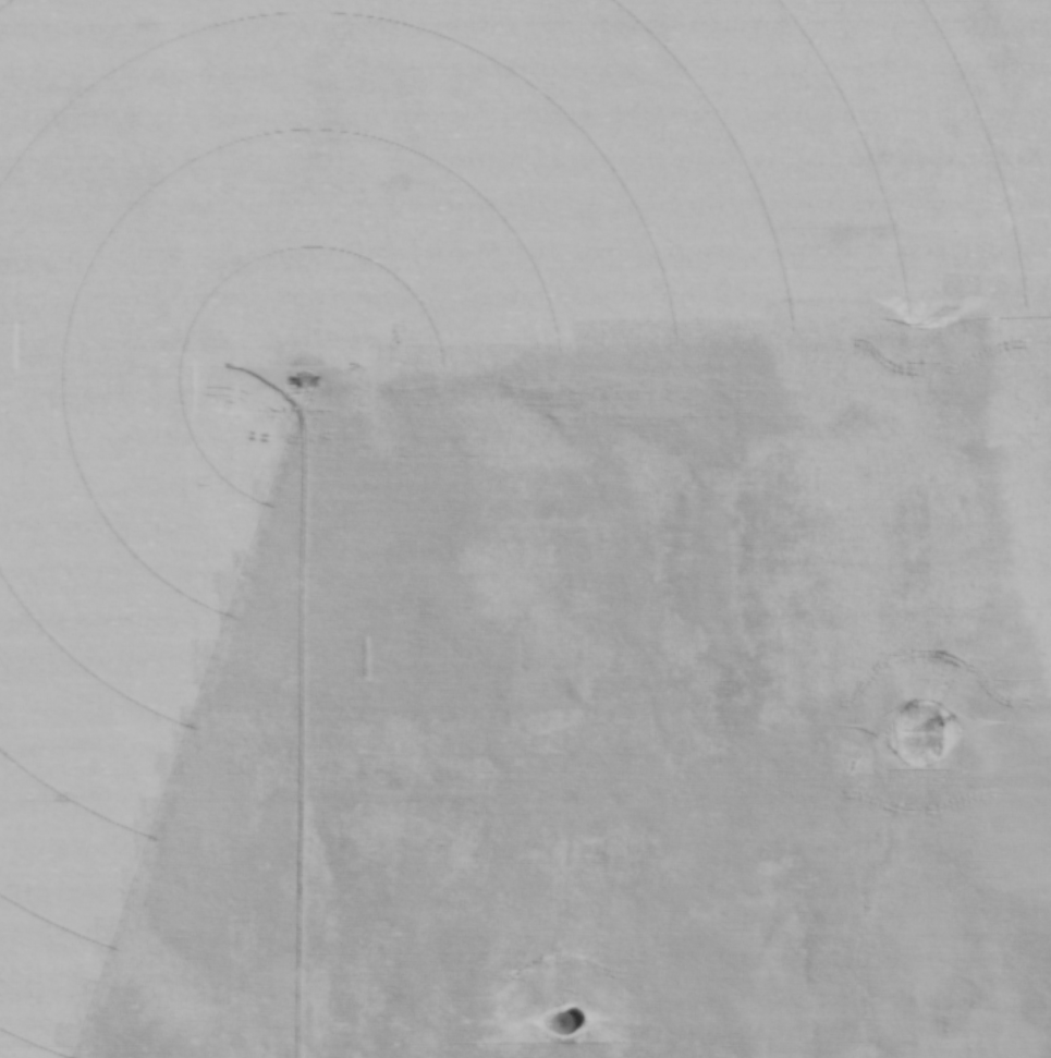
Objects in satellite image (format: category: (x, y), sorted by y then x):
power tower: (921, 326)
power tower: (918, 732)
building: (564, 841)
building: (624, 846)
building: (588, 901)
building: (692, 910)
building: (591, 941)
building: (565, 1024)

